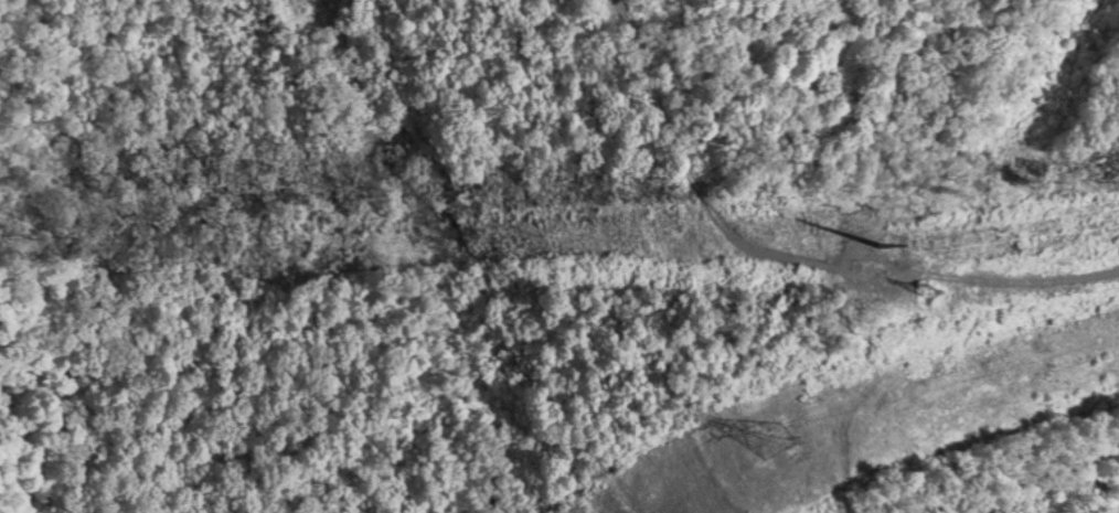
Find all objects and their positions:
power tower: (903, 225)
power tower: (788, 403)

